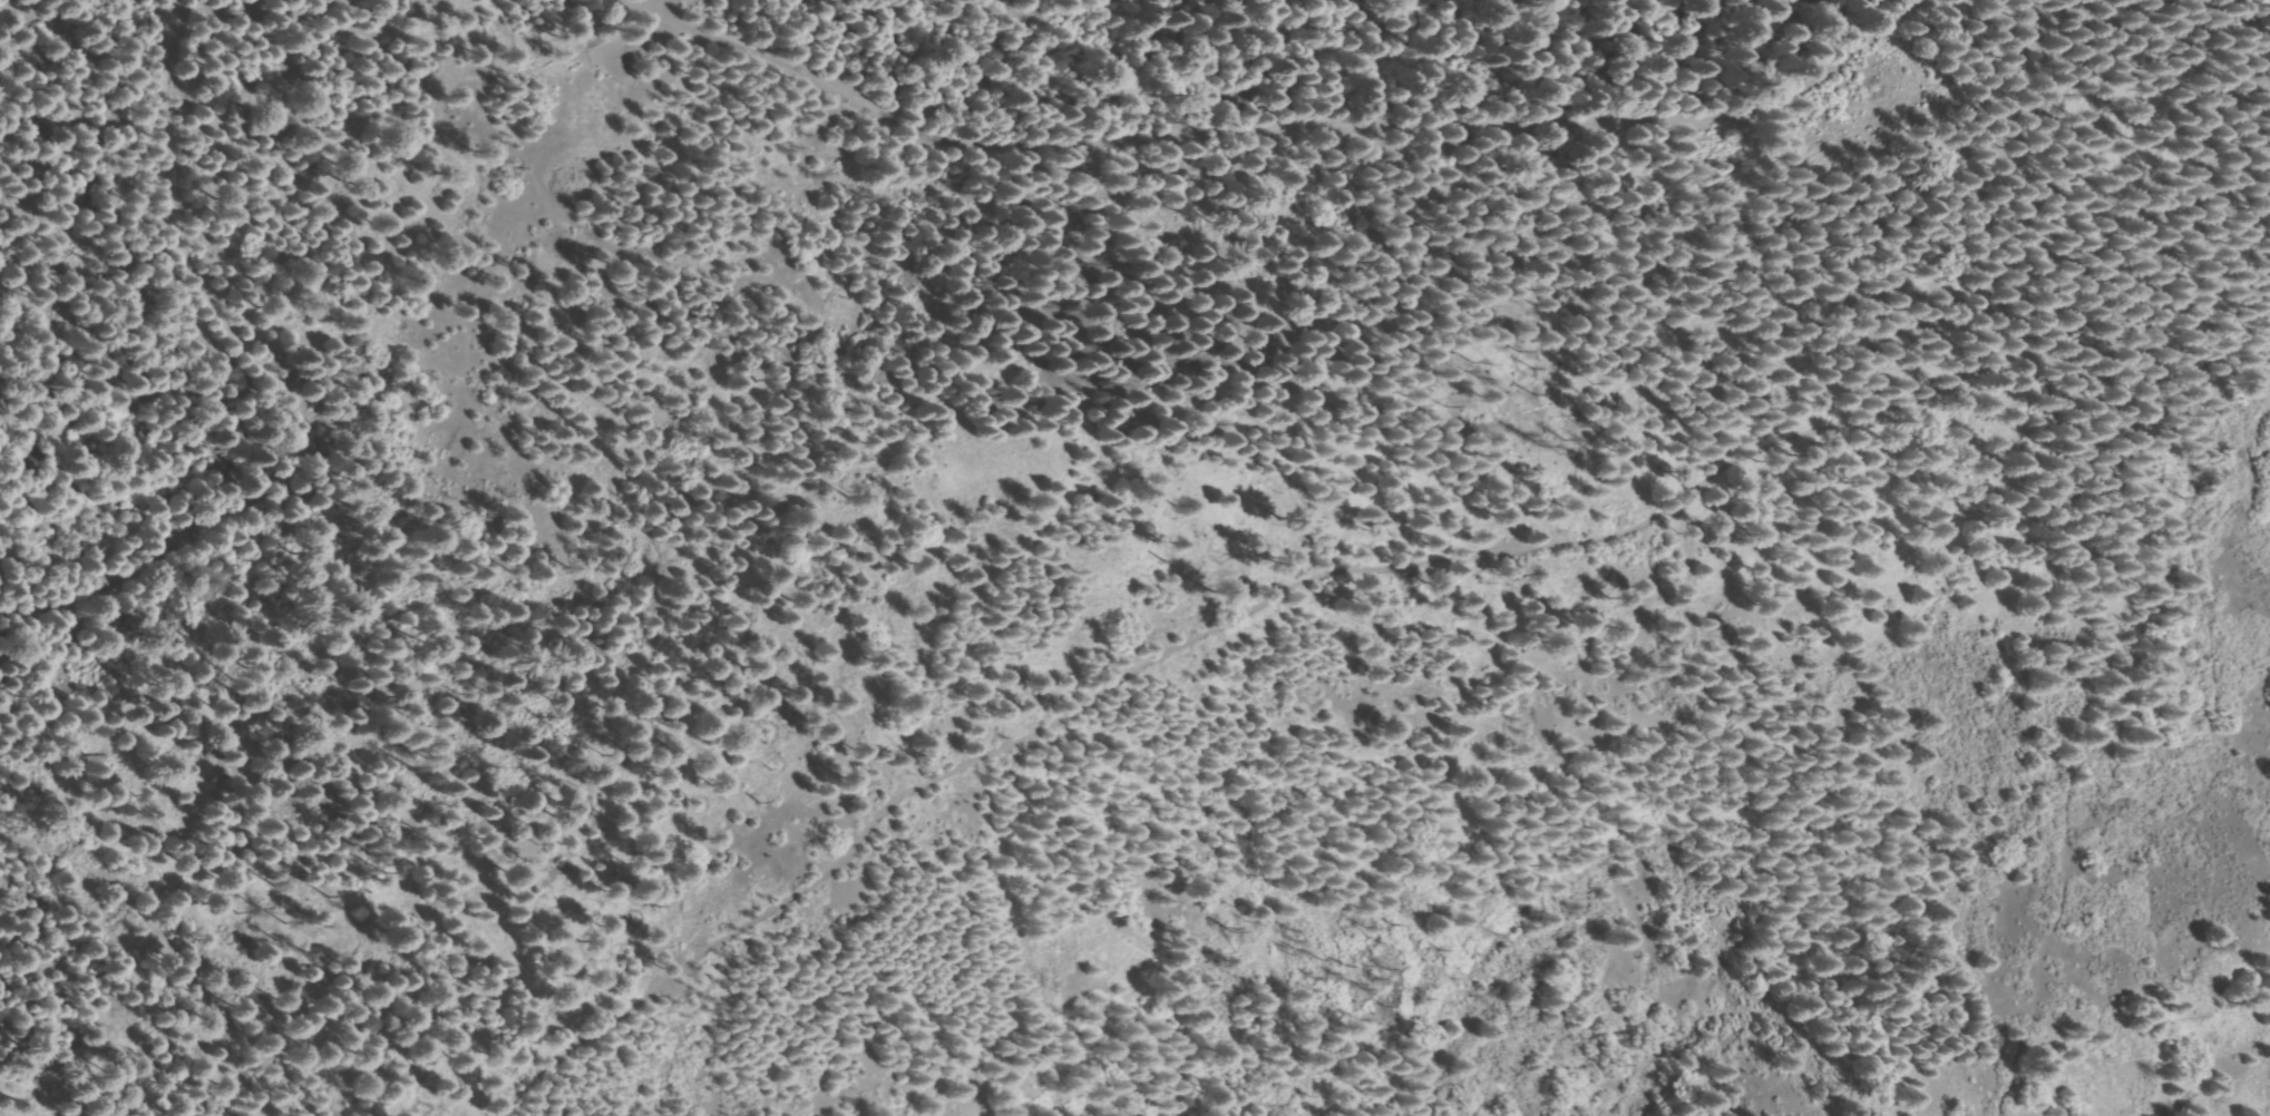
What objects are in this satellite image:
road: (1295, 127)
road: (282, 384)
road: (1341, 572)
road: (169, 955)

